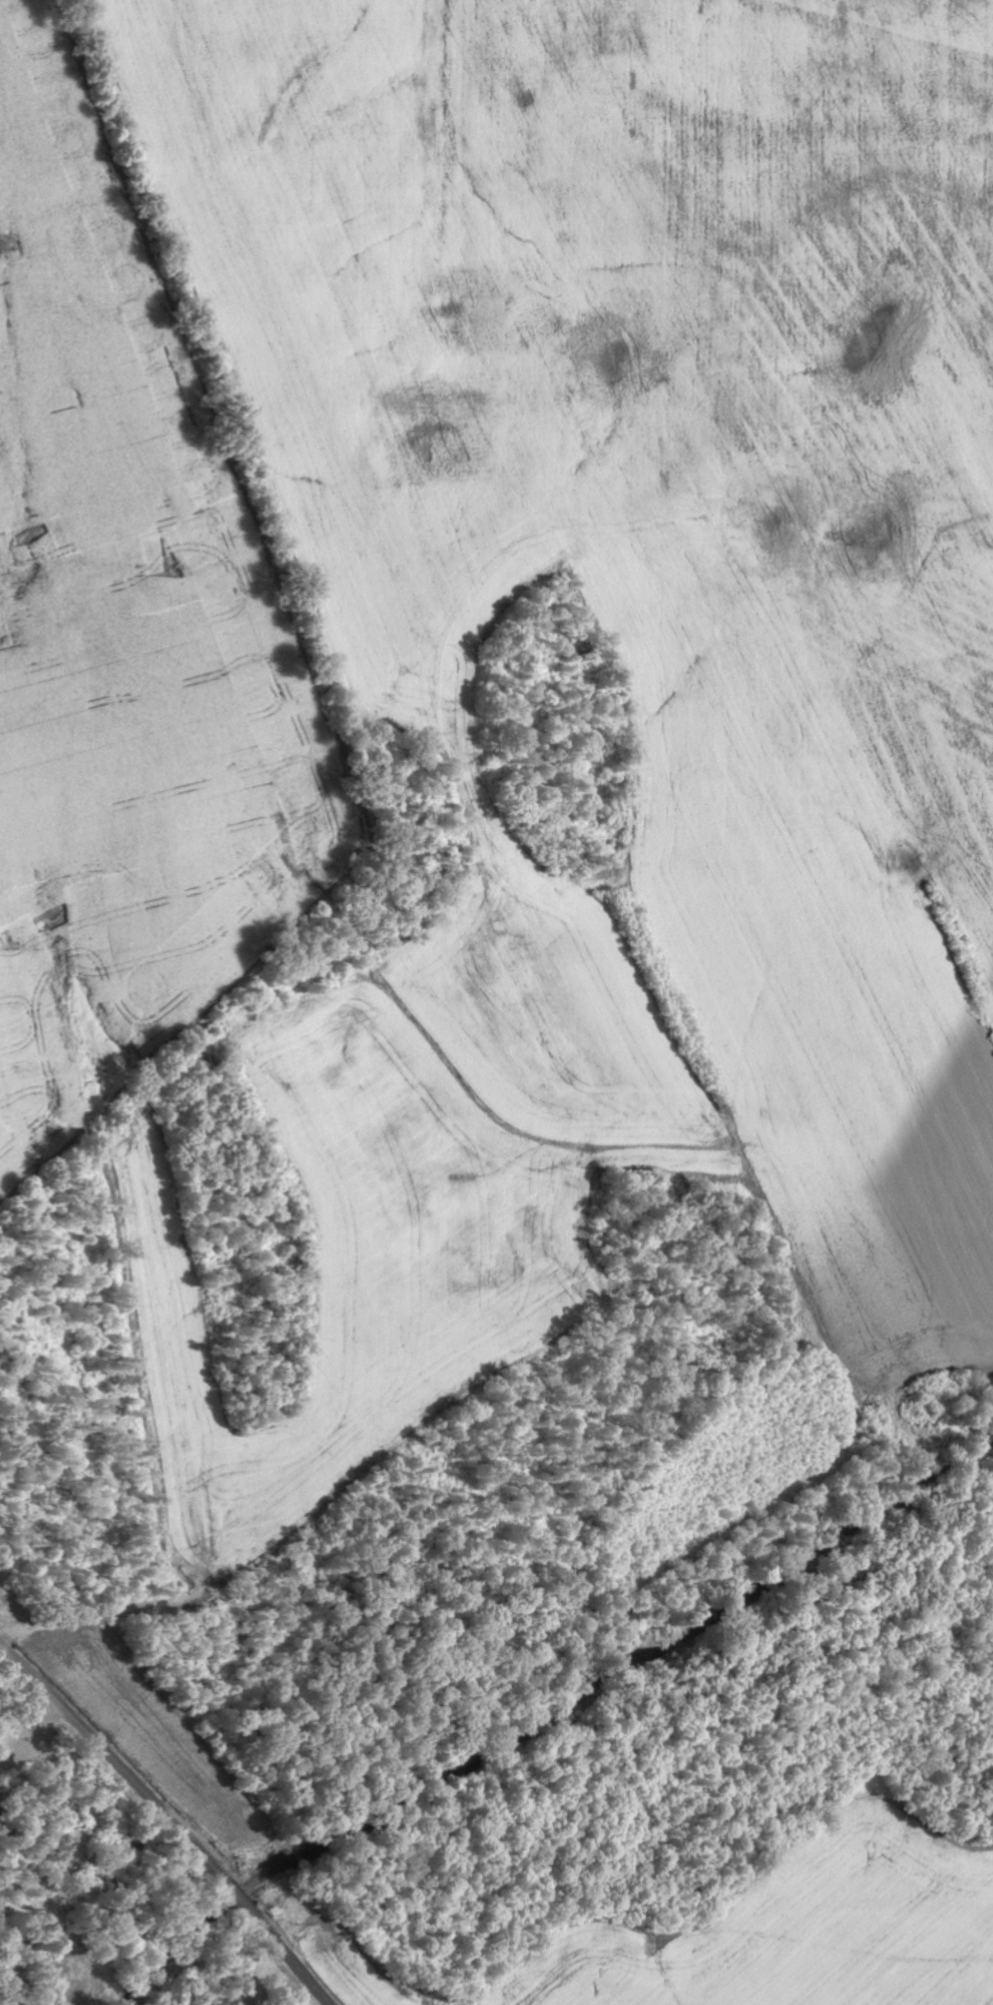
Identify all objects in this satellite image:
road: (114, 1762)
road: (237, 1897)
road: (288, 1957)

